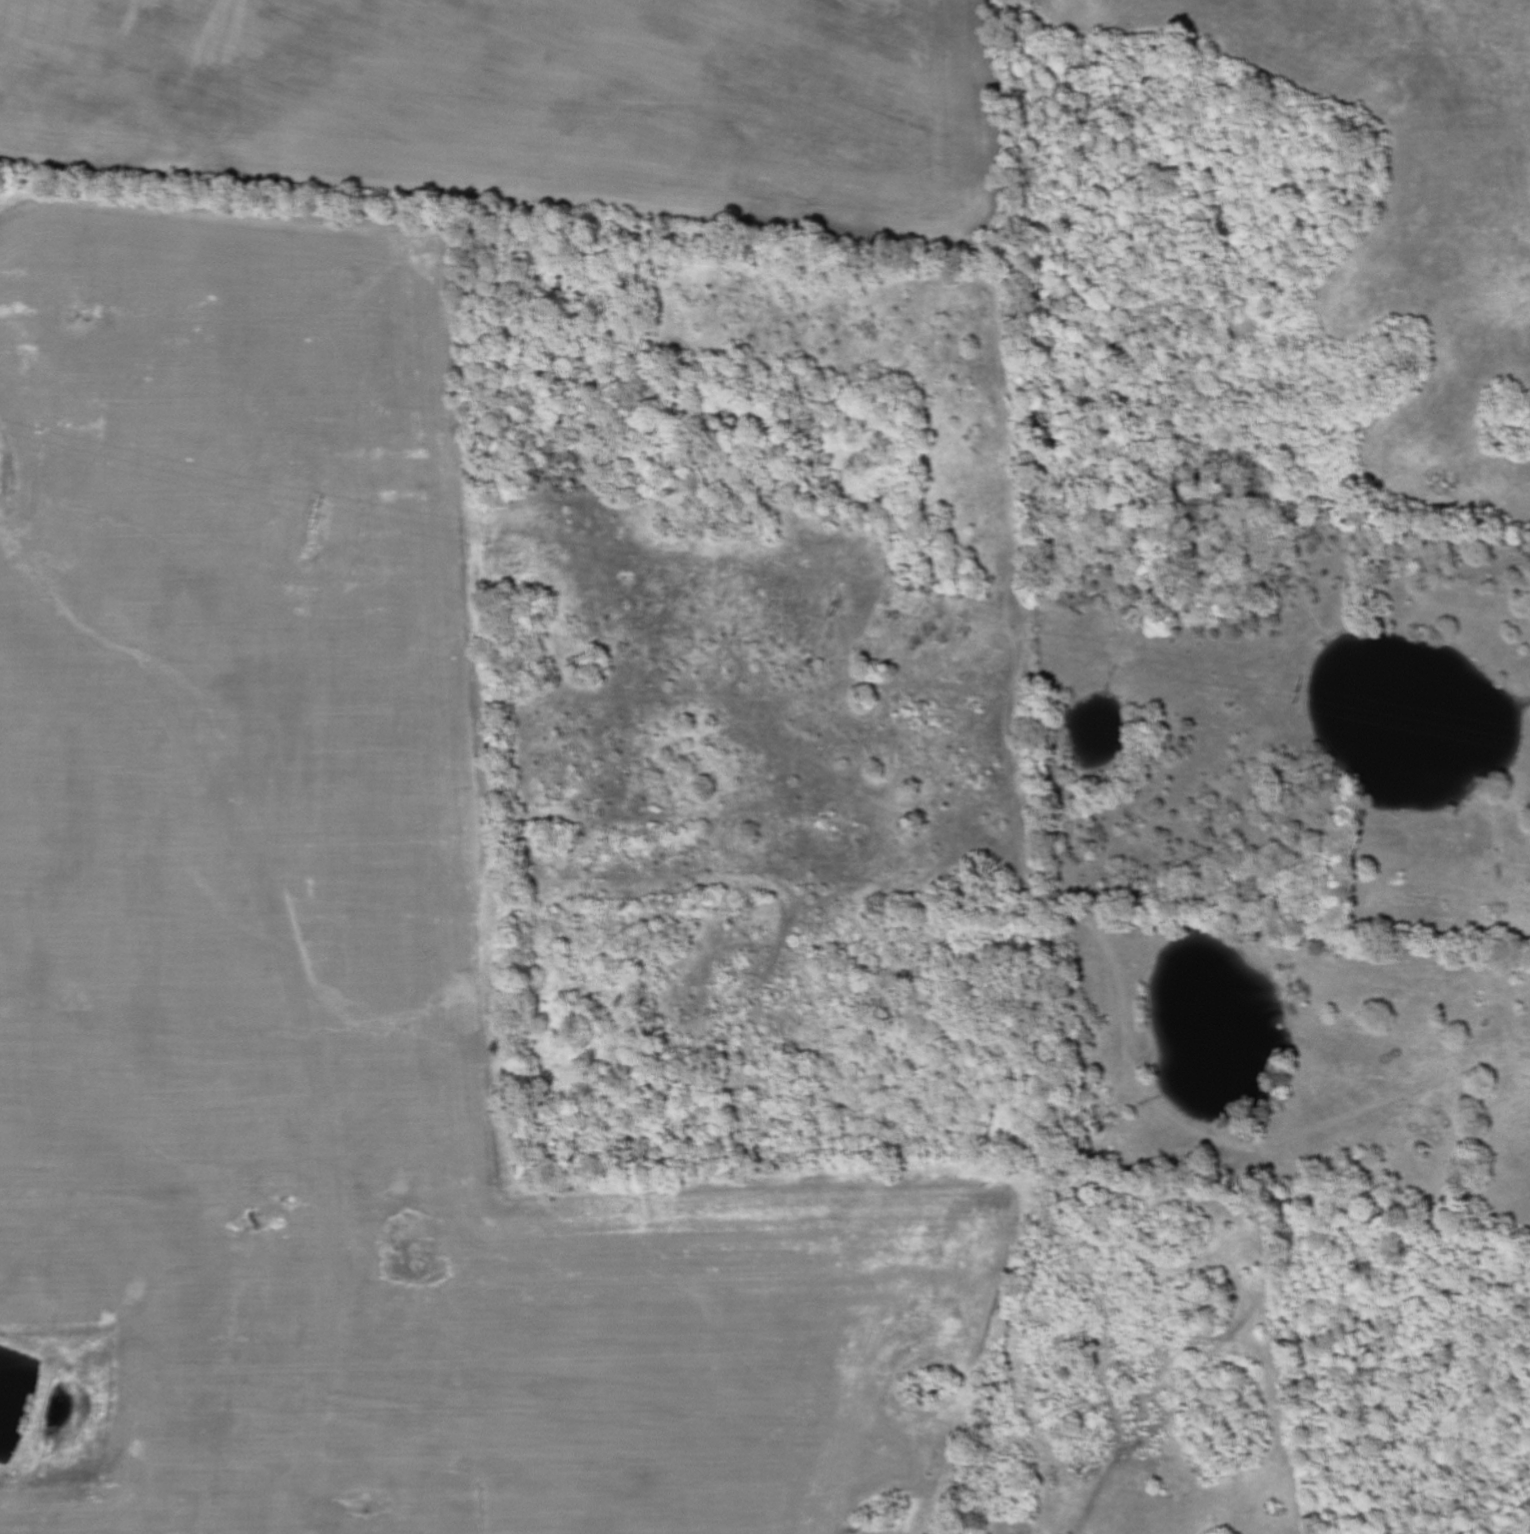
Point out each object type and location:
power tower: (314, 515)
power tower: (812, 609)
power tower: (1294, 699)

